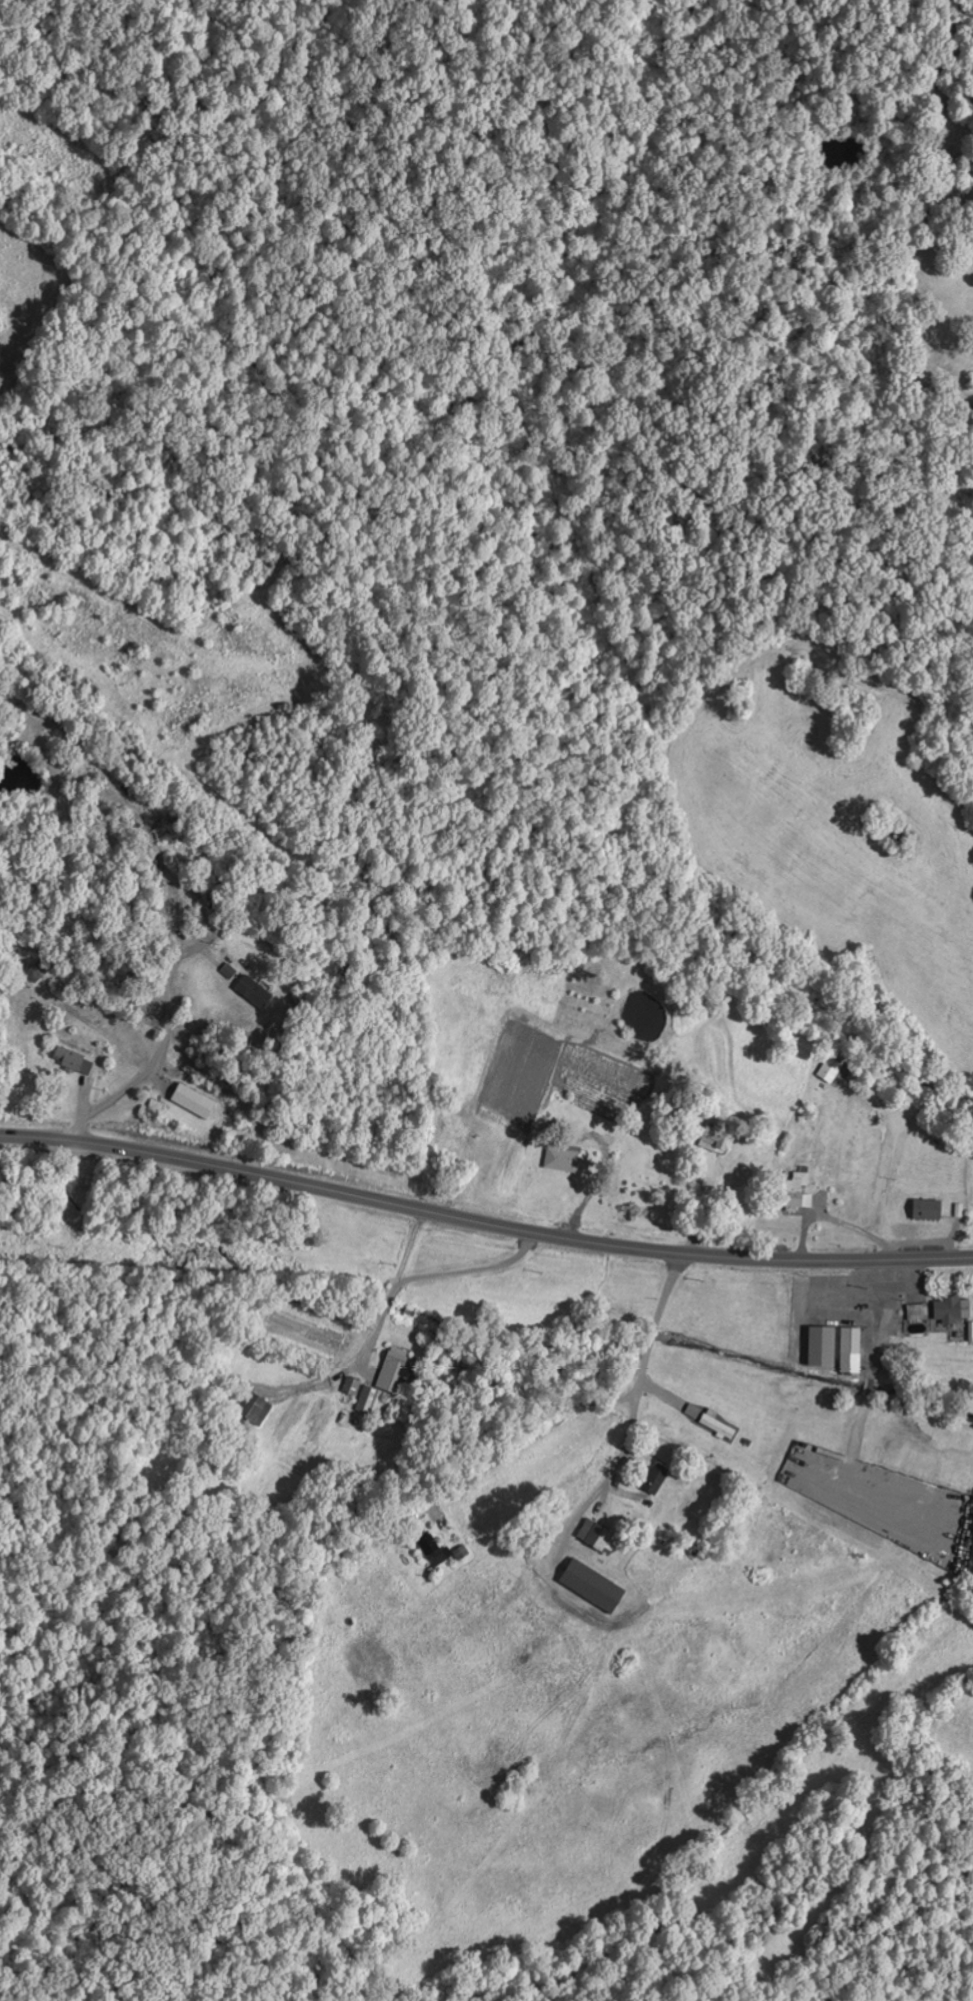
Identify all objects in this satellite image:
building: (229, 970)
building: (255, 991)
building: (74, 1060)
building: (831, 1069)
building: (195, 1100)
building: (718, 1139)
building: (564, 1160)
building: (745, 1175)
building: (798, 1192)
building: (929, 1209)
road: (483, 1222)
building: (953, 1309)
building: (919, 1312)
building: (824, 1346)
building: (852, 1350)
building: (395, 1369)
building: (258, 1407)
building: (718, 1424)
road: (543, 1456)
building: (655, 1480)
road: (781, 1529)
building: (600, 1536)
building: (436, 1550)
building: (595, 1586)

